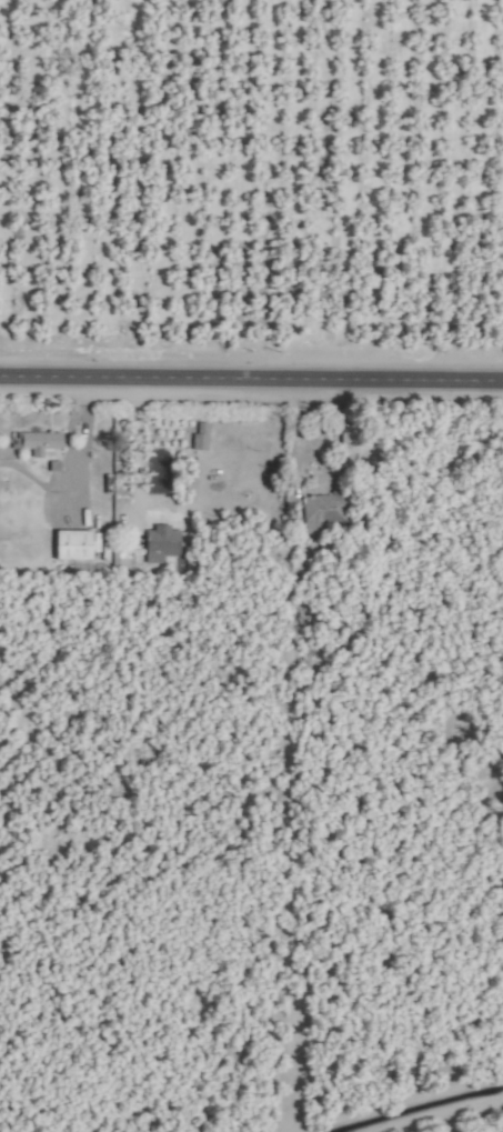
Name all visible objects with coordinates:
road: (251, 380)
building: (195, 438)
building: (37, 442)
road: (73, 468)
building: (322, 508)
building: (155, 544)
building: (70, 545)
crop: (251, 565)

